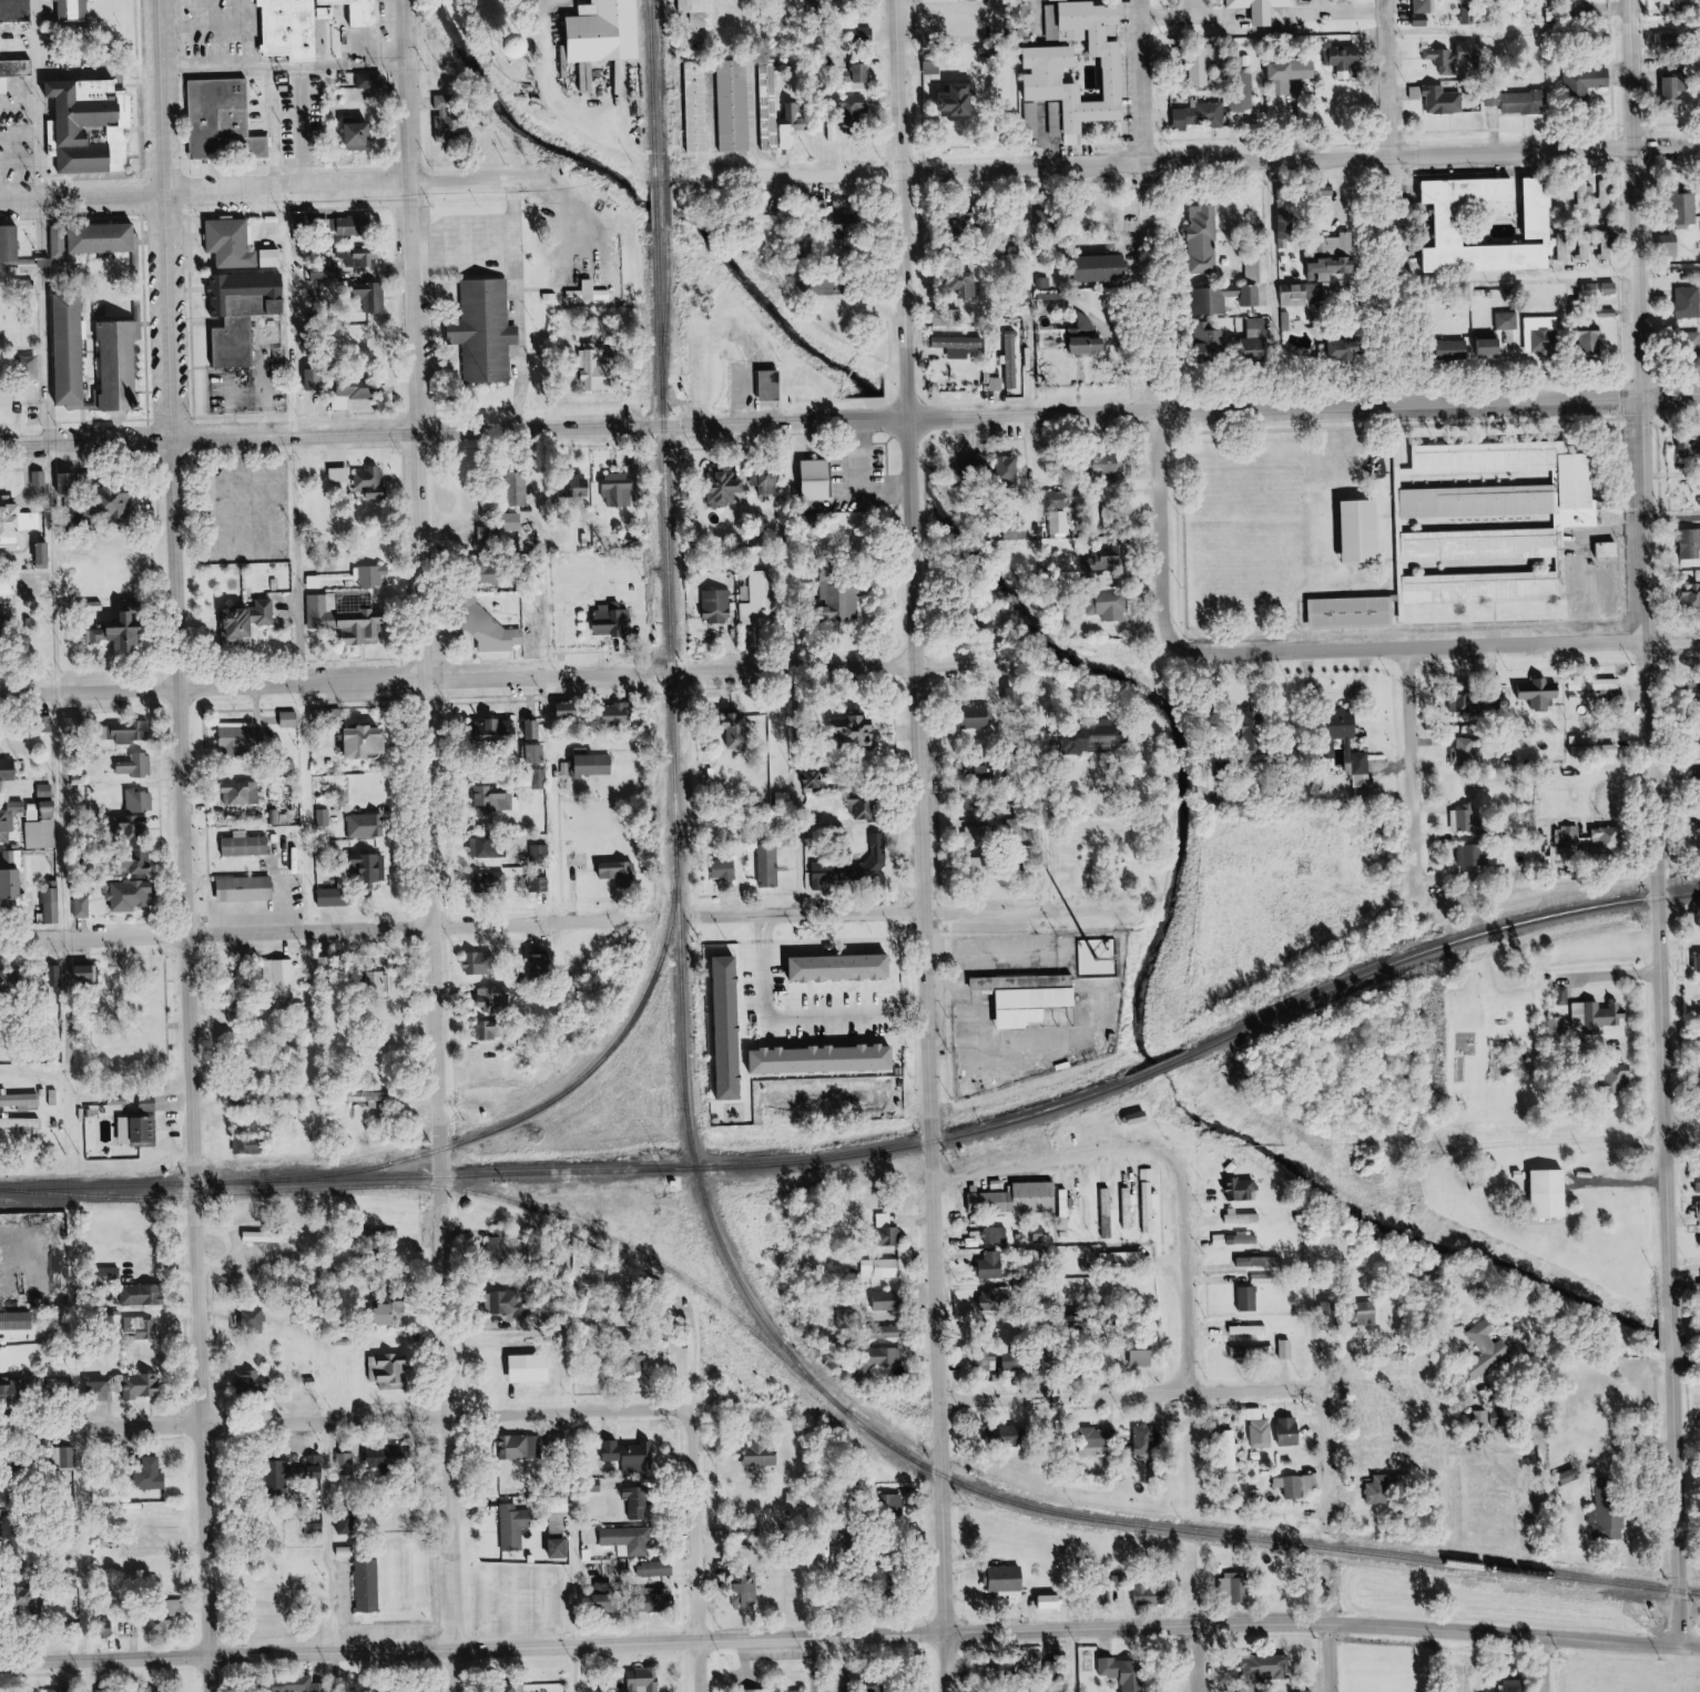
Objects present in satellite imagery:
building: (974, 0)
road: (103, 1)
building: (694, 6)
road: (887, 6)
building: (1426, 6)
road: (1205, 7)
road: (1210, 7)
road: (1331, 7)
building: (1270, 8)
building: (82, 10)
building: (20, 11)
building: (364, 12)
road: (1365, 12)
road: (1182, 13)
road: (1271, 13)
road: (1051, 17)
road: (963, 19)
road: (212, 23)
road: (1668, 24)
building: (295, 29)
parking lot: (223, 30)
building: (614, 31)
road: (258, 33)
building: (1666, 39)
building: (4, 40)
building: (553, 41)
water tower: (522, 51)
park: (508, 55)
building: (1454, 55)
building: (1347, 59)
building: (936, 60)
building: (20, 67)
road: (291, 67)
building: (1203, 68)
building: (1049, 69)
building: (863, 71)
building: (1293, 74)
building: (373, 80)
building: (1588, 81)
road: (139, 86)
railway: (658, 86)
building: (1674, 89)
road: (150, 91)
building: (1442, 98)
road: (48, 99)
road: (566, 99)
building: (1244, 100)
building: (1521, 101)
building: (964, 103)
building: (768, 104)
road: (26, 105)
building: (733, 105)
building: (696, 106)
building: (854, 109)
parking lot: (301, 114)
building: (797, 115)
building: (1202, 115)
building: (232, 118)
building: (458, 118)
building: (1061, 122)
building: (99, 124)
road: (311, 128)
road: (146, 131)
road: (28, 135)
building: (369, 135)
building: (1, 157)
road: (368, 160)
road: (30, 162)
road: (1205, 163)
fountain: (235, 167)
road: (258, 169)
road: (102, 176)
road: (276, 191)
road: (197, 192)
building: (1586, 195)
building: (1604, 195)
road: (1401, 203)
railway: (663, 204)
road: (1157, 204)
building: (1697, 207)
road: (307, 210)
building: (973, 218)
building: (307, 221)
building: (1454, 221)
road: (1282, 223)
building: (852, 225)
building: (349, 227)
building: (112, 236)
building: (1205, 238)
road: (208, 239)
building: (16, 241)
building: (241, 241)
building: (1672, 241)
building: (61, 242)
building: (1607, 245)
building: (1587, 247)
building: (362, 256)
building: (281, 257)
building: (1332, 258)
road: (39, 263)
road: (6, 264)
building: (1107, 267)
building: (1254, 271)
building: (968, 284)
building: (1056, 286)
building: (1614, 287)
building: (1591, 289)
road: (211, 291)
building: (591, 292)
building: (255, 296)
building: (1229, 297)
building: (1688, 302)
road: (156, 304)
road: (528, 306)
road: (301, 314)
building: (950, 317)
road: (201, 318)
building: (1506, 320)
road: (100, 322)
road: (153, 326)
building: (489, 330)
building: (1254, 332)
building: (1541, 335)
building: (1090, 338)
building: (1209, 340)
building: (243, 344)
building: (960, 345)
building: (1490, 346)
building: (79, 347)
building: (1350, 348)
building: (1455, 349)
building: (1015, 360)
building: (35, 365)
building: (129, 365)
building: (607, 365)
building: (316, 379)
building: (781, 380)
building: (359, 388)
road: (746, 395)
road: (106, 397)
road: (608, 397)
road: (644, 405)
road: (539, 407)
road: (98, 408)
road: (185, 419)
road: (316, 419)
road: (849, 420)
road: (132, 421)
road: (132, 426)
road: (627, 448)
building: (1686, 448)
road: (581, 450)
road: (752, 463)
road: (800, 463)
building: (1112, 463)
building: (980, 466)
building: (1010, 468)
building: (343, 473)
road: (234, 475)
building: (826, 476)
building: (775, 477)
road: (871, 479)
road: (548, 480)
building: (74, 483)
building: (375, 483)
building: (733, 483)
building: (628, 487)
building: (526, 488)
building: (581, 489)
building: (1498, 499)
building: (122, 502)
road: (235, 509)
building: (1112, 517)
building: (519, 518)
building: (14, 521)
building: (1060, 523)
building: (1370, 527)
road: (1170, 533)
building: (498, 536)
road: (283, 538)
building: (1692, 543)
building: (1609, 549)
building: (42, 552)
building: (1106, 558)
road: (65, 569)
road: (255, 572)
building: (369, 575)
building: (8, 591)
road: (559, 602)
building: (726, 604)
building: (754, 604)
building: (1114, 607)
road: (297, 608)
building: (1361, 612)
road: (516, 613)
building: (359, 615)
building: (620, 618)
building: (255, 619)
road: (311, 624)
building: (497, 626)
road: (543, 630)
road: (485, 634)
road: (1445, 648)
road: (595, 652)
road: (632, 652)
road: (1650, 659)
road: (469, 660)
road: (509, 676)
building: (1012, 685)
road: (496, 702)
road: (521, 709)
building: (574, 711)
building: (624, 712)
building: (329, 716)
building: (981, 717)
building: (292, 720)
building: (865, 726)
building: (512, 731)
building: (135, 733)
building: (1692, 735)
building: (743, 736)
building: (1099, 737)
building: (244, 740)
building: (373, 742)
building: (1343, 742)
road: (566, 745)
building: (541, 754)
building: (1466, 757)
road: (1421, 761)
building: (597, 765)
building: (140, 766)
building: (11, 769)
building: (988, 772)
road: (1058, 773)
building: (815, 778)
building: (1692, 785)
building: (48, 792)
building: (244, 794)
building: (498, 798)
building: (1555, 798)
building: (142, 802)
road: (465, 807)
building: (869, 807)
road: (73, 816)
building: (1465, 823)
building: (369, 826)
building: (139, 827)
building: (1019, 828)
railway: (675, 833)
building: (44, 835)
building: (983, 836)
building: (1606, 843)
road: (189, 845)
building: (250, 845)
road: (930, 845)
road: (432, 846)
building: (492, 847)
building: (542, 855)
building: (1470, 856)
building: (16, 859)
building: (147, 865)
building: (771, 866)
building: (854, 867)
building: (377, 868)
building: (729, 869)
building: (622, 873)
building: (493, 883)
building: (17, 884)
building: (542, 885)
building: (250, 888)
building: (133, 896)
building: (335, 897)
building: (53, 906)
building: (84, 907)
road: (1052, 907)
road: (873, 913)
road: (424, 928)
road: (93, 939)
road: (764, 946)
railway: (1438, 947)
road: (953, 952)
building: (1696, 962)
building: (482, 964)
building: (543, 964)
building: (328, 965)
building: (848, 968)
building: (89, 976)
building: (284, 976)
building: (383, 981)
building: (14, 982)
building: (1036, 993)
building: (499, 998)
road: (954, 1008)
building: (1594, 1017)
road: (833, 1019)
building: (735, 1029)
building: (492, 1030)
road: (1086, 1041)
building: (829, 1059)
railway: (1162, 1067)
building: (1606, 1079)
building: (375, 1097)
building: (242, 1099)
railway: (550, 1100)
building: (22, 1101)
building: (152, 1103)
building: (22, 1123)
building: (147, 1130)
road: (1683, 1133)
building: (256, 1141)
road: (1052, 1160)
railway: (704, 1168)
road: (1614, 1181)
building: (1540, 1182)
building: (1696, 1183)
railway: (134, 1184)
building: (1243, 1190)
railway: (74, 1193)
railway: (74, 1199)
building: (1153, 1199)
building: (1024, 1200)
railway: (512, 1204)
building: (1132, 1205)
building: (1696, 1209)
building: (1111, 1212)
building: (890, 1230)
building: (995, 1234)
building: (267, 1236)
building: (1697, 1243)
building: (501, 1245)
building: (1124, 1255)
building: (995, 1265)
building: (884, 1267)
building: (115, 1273)
road: (1175, 1280)
building: (1699, 1285)
building: (146, 1294)
building: (996, 1299)
building: (889, 1301)
building: (515, 1303)
building: (399, 1313)
building: (1365, 1314)
building: (256, 1318)
building: (848, 1319)
building: (19, 1321)
building: (143, 1326)
road: (1678, 1341)
building: (1285, 1350)
building: (889, 1356)
building: (1146, 1357)
building: (1488, 1359)
building: (1019, 1362)
building: (986, 1364)
building: (536, 1367)
building: (393, 1369)
building: (255, 1383)
building: (146, 1385)
building: (16, 1390)
building: (103, 1390)
road: (1129, 1393)
road: (345, 1419)
building: (1290, 1433)
building: (1008, 1434)
building: (1105, 1438)
building: (1148, 1439)
building: (556, 1440)
building: (523, 1447)
building: (763, 1454)
building: (633, 1455)
building: (393, 1456)
building: (65, 1457)
road: (1324, 1458)
building: (348, 1464)
building: (298, 1472)
building: (155, 1474)
building: (1299, 1486)
building: (1380, 1491)
building: (642, 1501)
road: (1681, 1505)
road: (694, 1522)
building: (350, 1523)
building: (1604, 1523)
building: (317, 1526)
building: (517, 1526)
building: (16, 1530)
railway: (1244, 1538)
building: (854, 1539)
building: (631, 1540)
building: (561, 1541)
road: (573, 1552)
building: (659, 1569)
building: (1009, 1581)
building: (373, 1584)
building: (750, 1588)
building: (1228, 1590)
building: (1153, 1593)
building: (613, 1598)
building: (668, 1600)
building: (1053, 1601)
building: (42, 1604)
building: (162, 1627)
road: (842, 1637)
road: (1691, 1645)
road: (1332, 1658)
road: (1195, 1659)
road: (1546, 1664)
building: (1131, 1672)
road: (86, 1676)
building: (645, 1679)
building: (302, 1684)
building: (1510, 1686)
building: (887, 1688)
building: (60, 1691)
building: (160, 1691)
building: (782, 1691)

